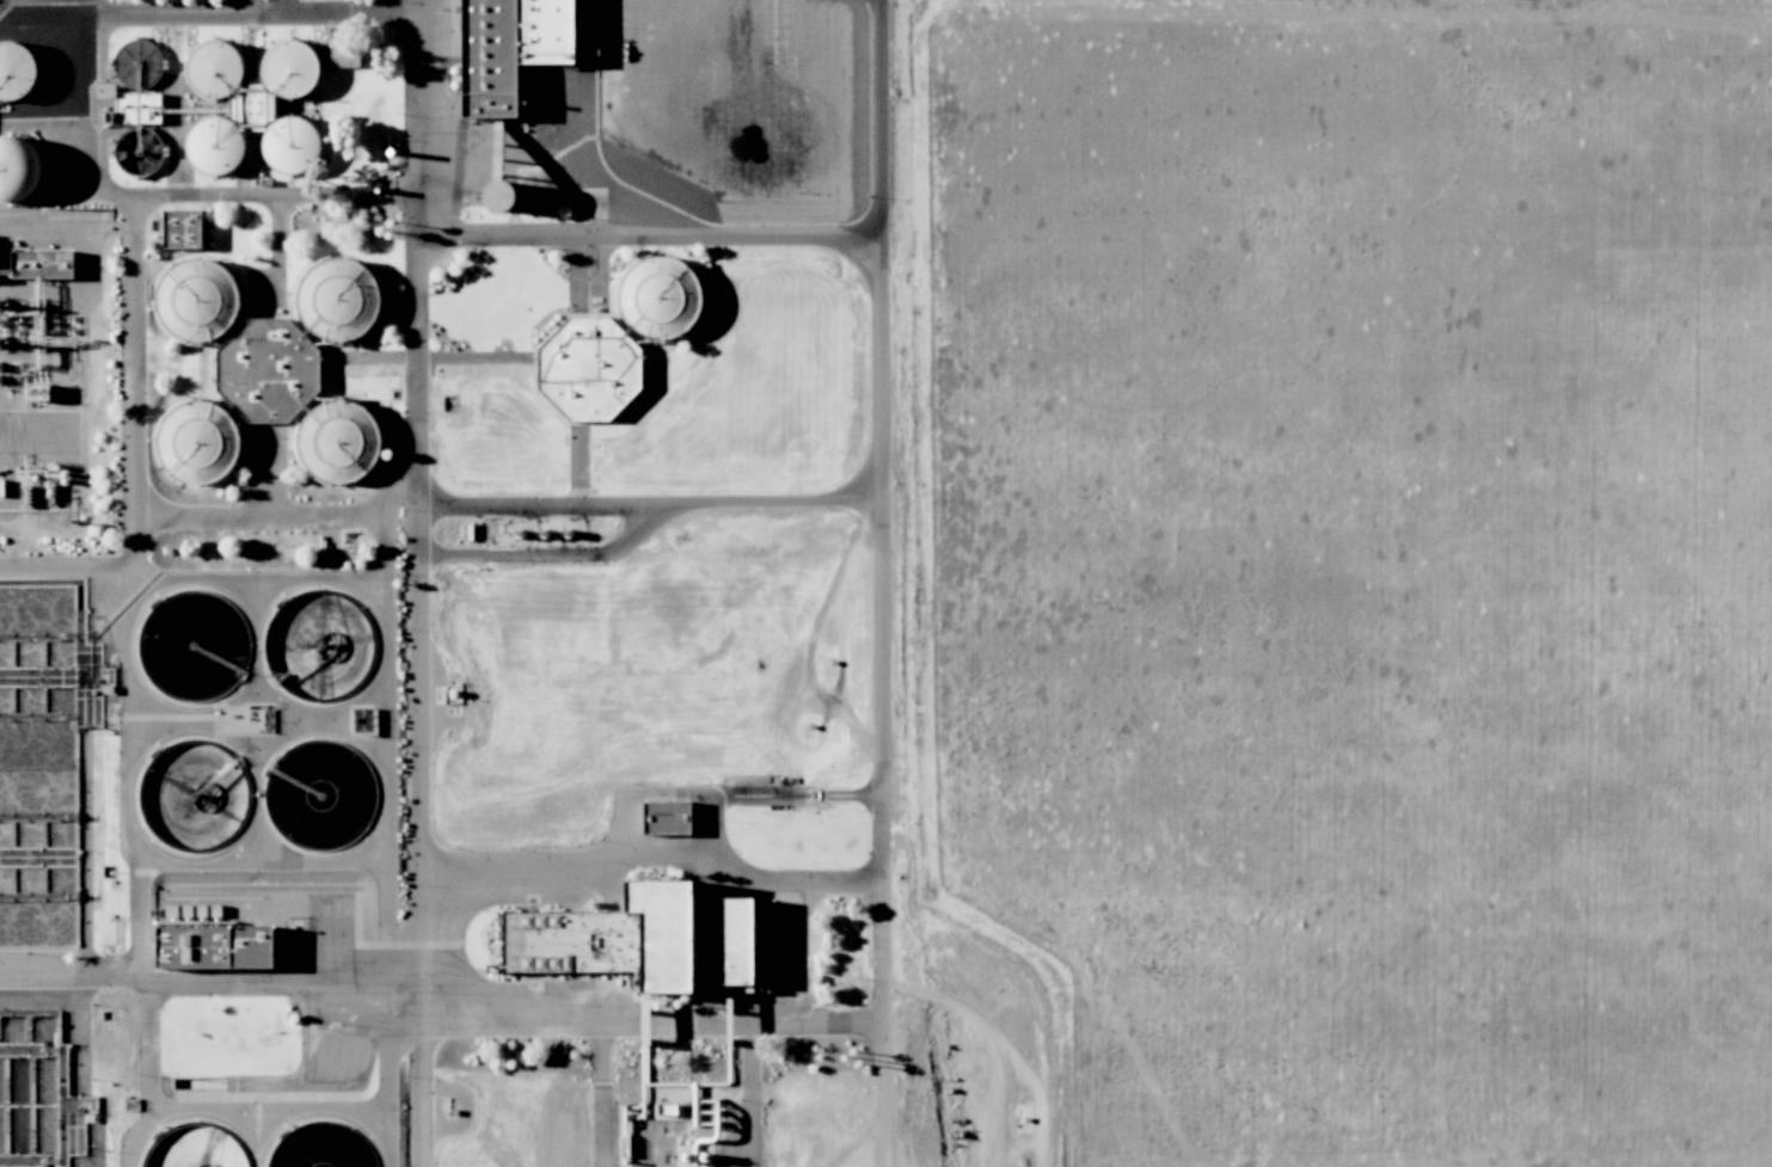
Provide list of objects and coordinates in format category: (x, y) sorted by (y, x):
road: (255, 6)
road: (256, 12)
building: (507, 48)
building: (343, 54)
building: (290, 67)
building: (14, 68)
building: (214, 69)
building: (290, 142)
building: (214, 143)
road: (882, 148)
building: (17, 167)
building: (498, 195)
building: (39, 262)
building: (656, 295)
building: (195, 297)
building: (336, 297)
building: (587, 367)
road: (134, 383)
building: (198, 440)
building: (337, 440)
road: (417, 459)
road: (66, 570)
crop: (1345, 582)
wastewater plant: (460, 584)
wastewater plant: (190, 644)
wastewater plant: (319, 645)
road: (883, 731)
wastewater plant: (36, 766)
wastewater plant: (192, 793)
wastewater plant: (318, 793)
building: (664, 816)
road: (654, 854)
road: (247, 865)
building: (642, 938)
road: (127, 971)
road: (307, 981)
wastewater plant: (27, 1091)
wastewater plant: (192, 1147)
wastewater plant: (320, 1147)

